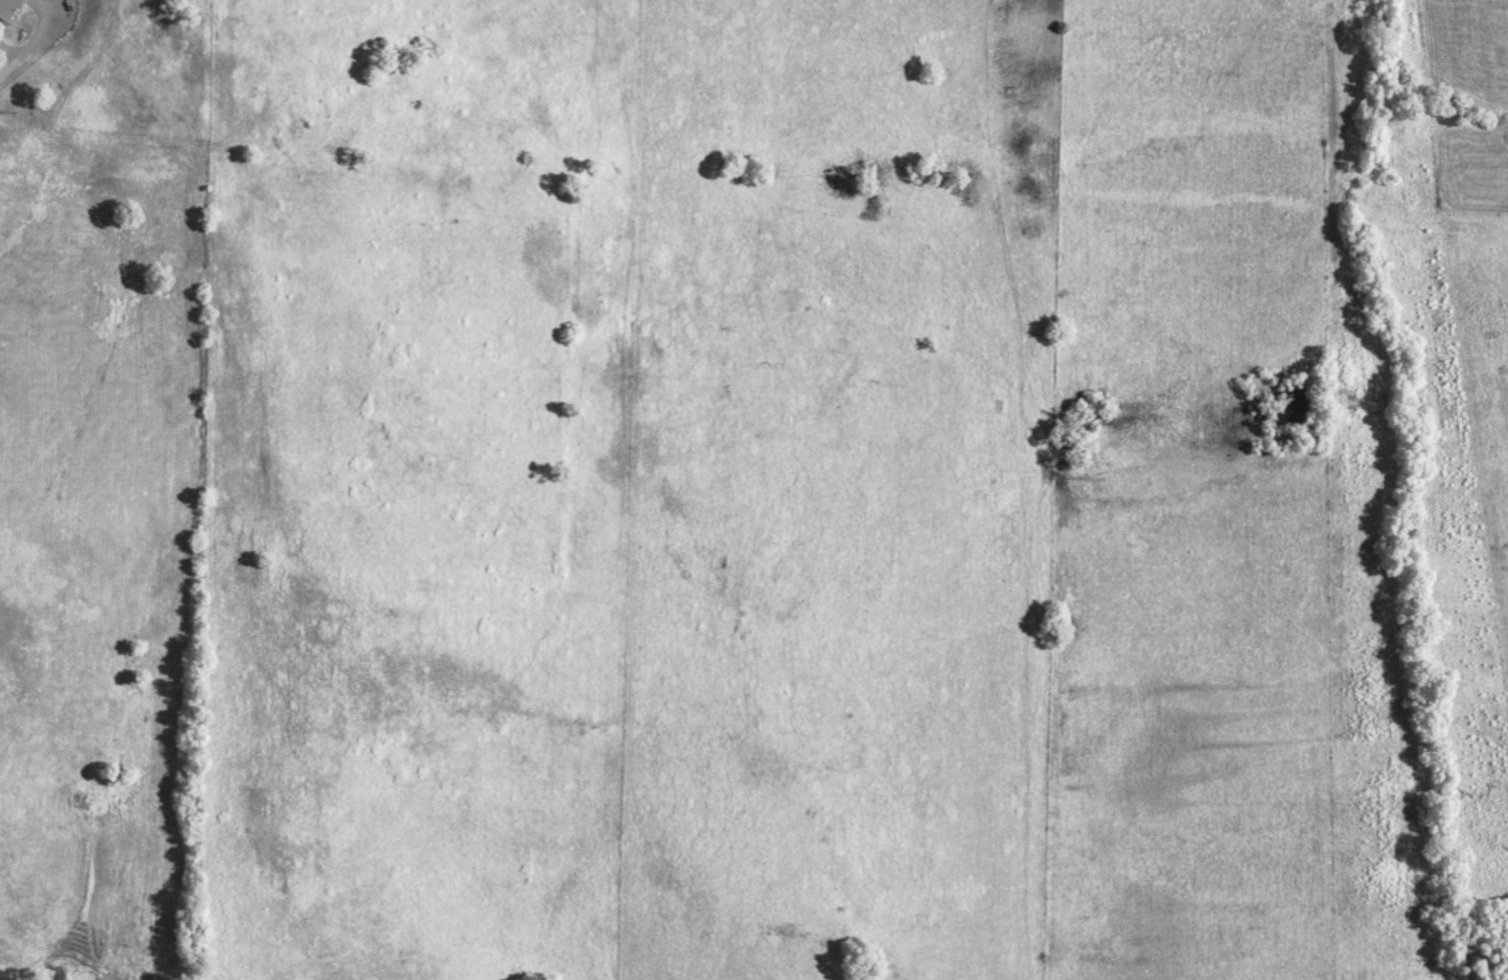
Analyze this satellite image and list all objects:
building: (8, 9)
road: (30, 38)
road: (1328, 74)

